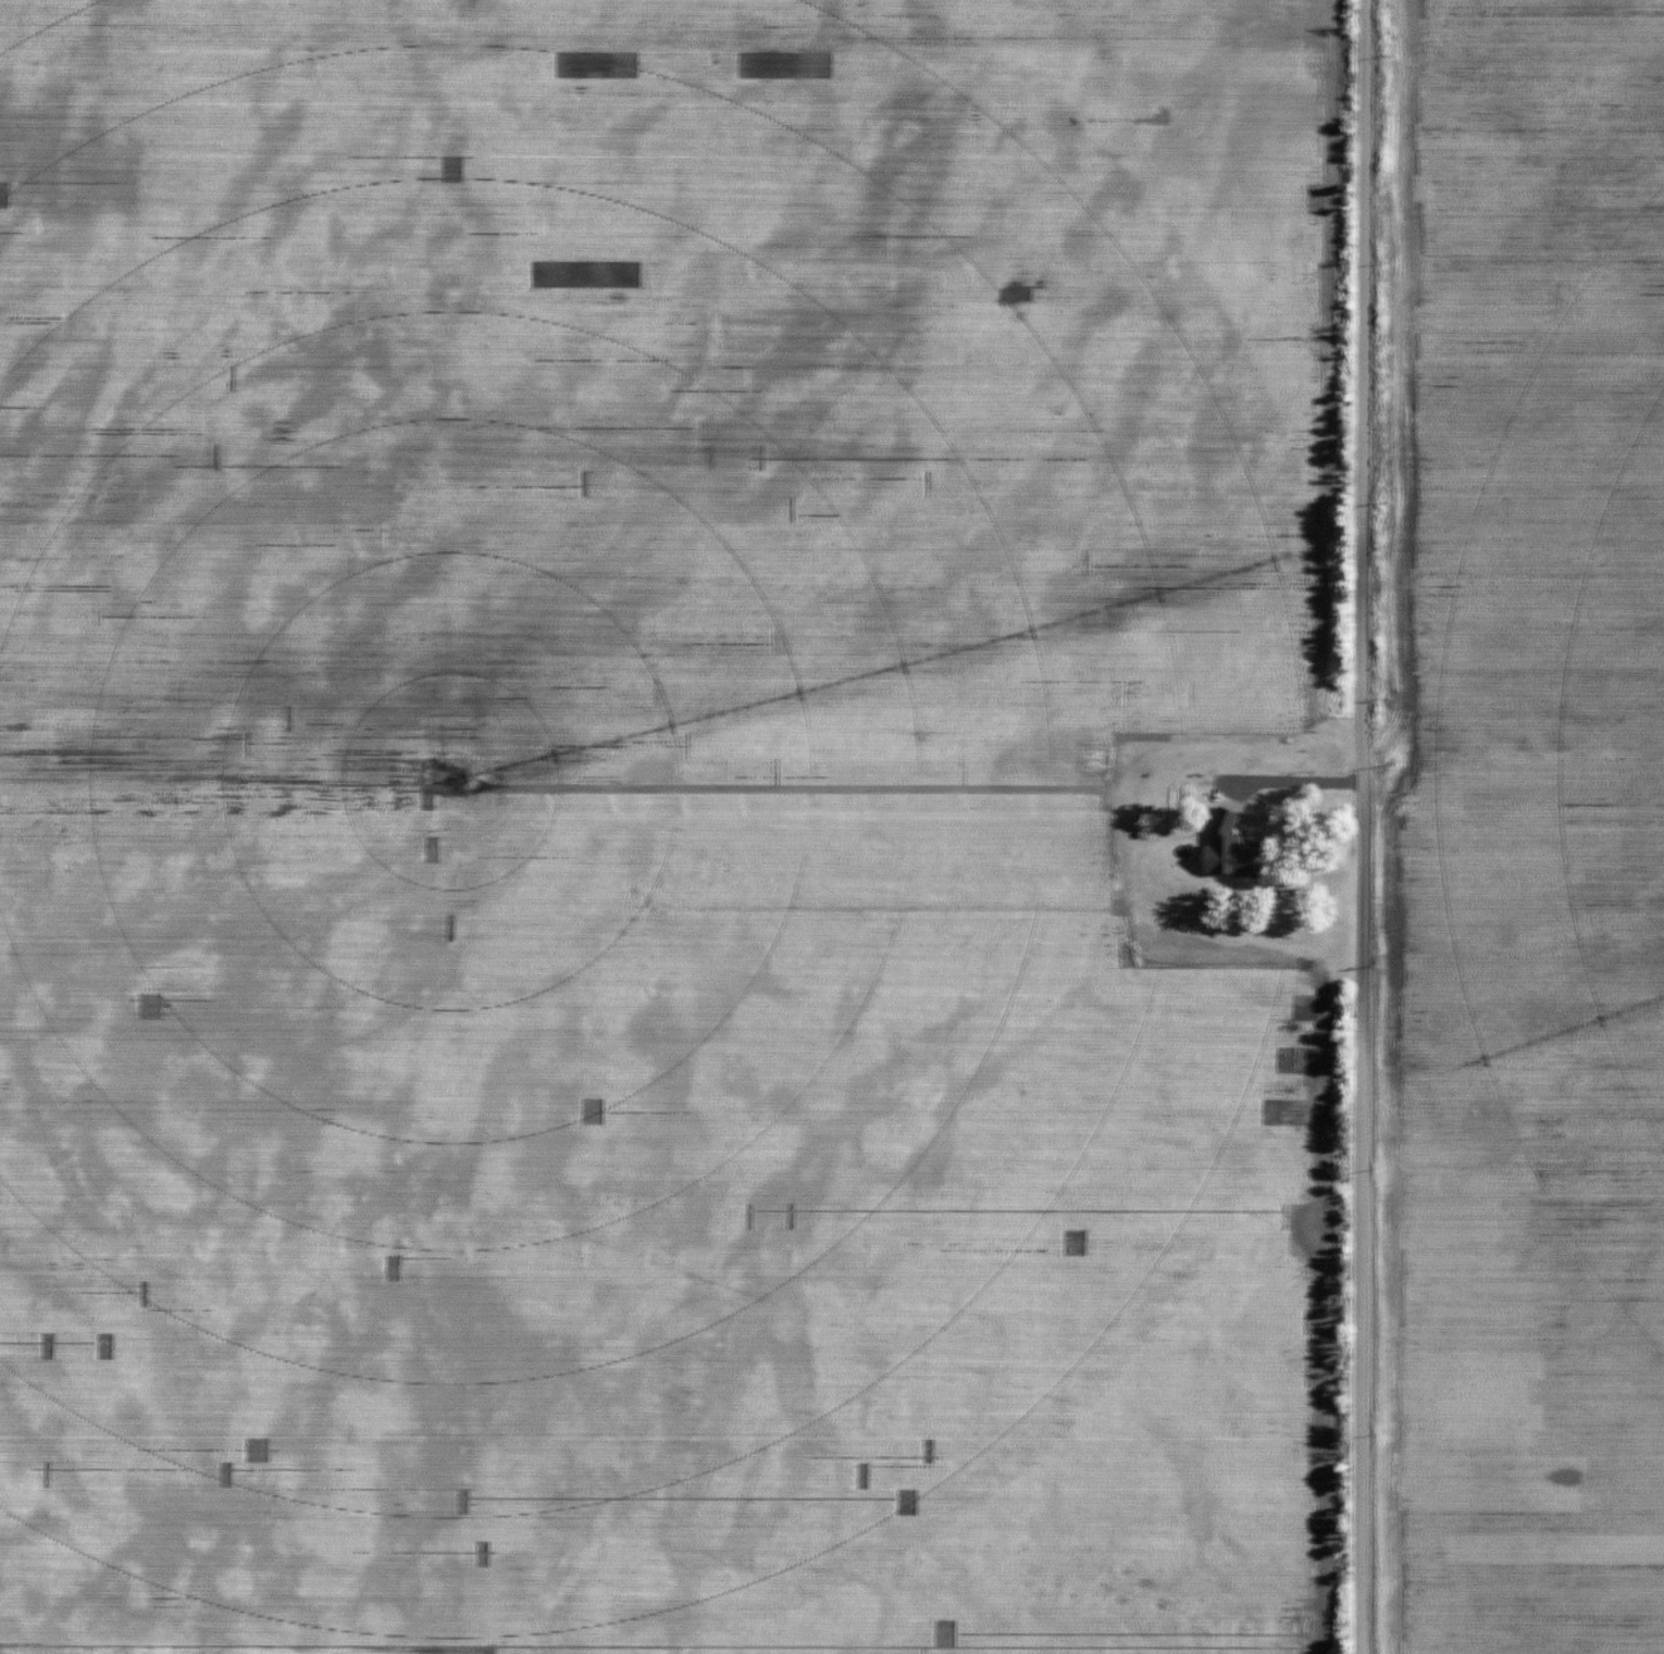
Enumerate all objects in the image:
building: (1216, 780)
building: (1254, 797)
road: (1367, 826)
building: (1192, 860)

